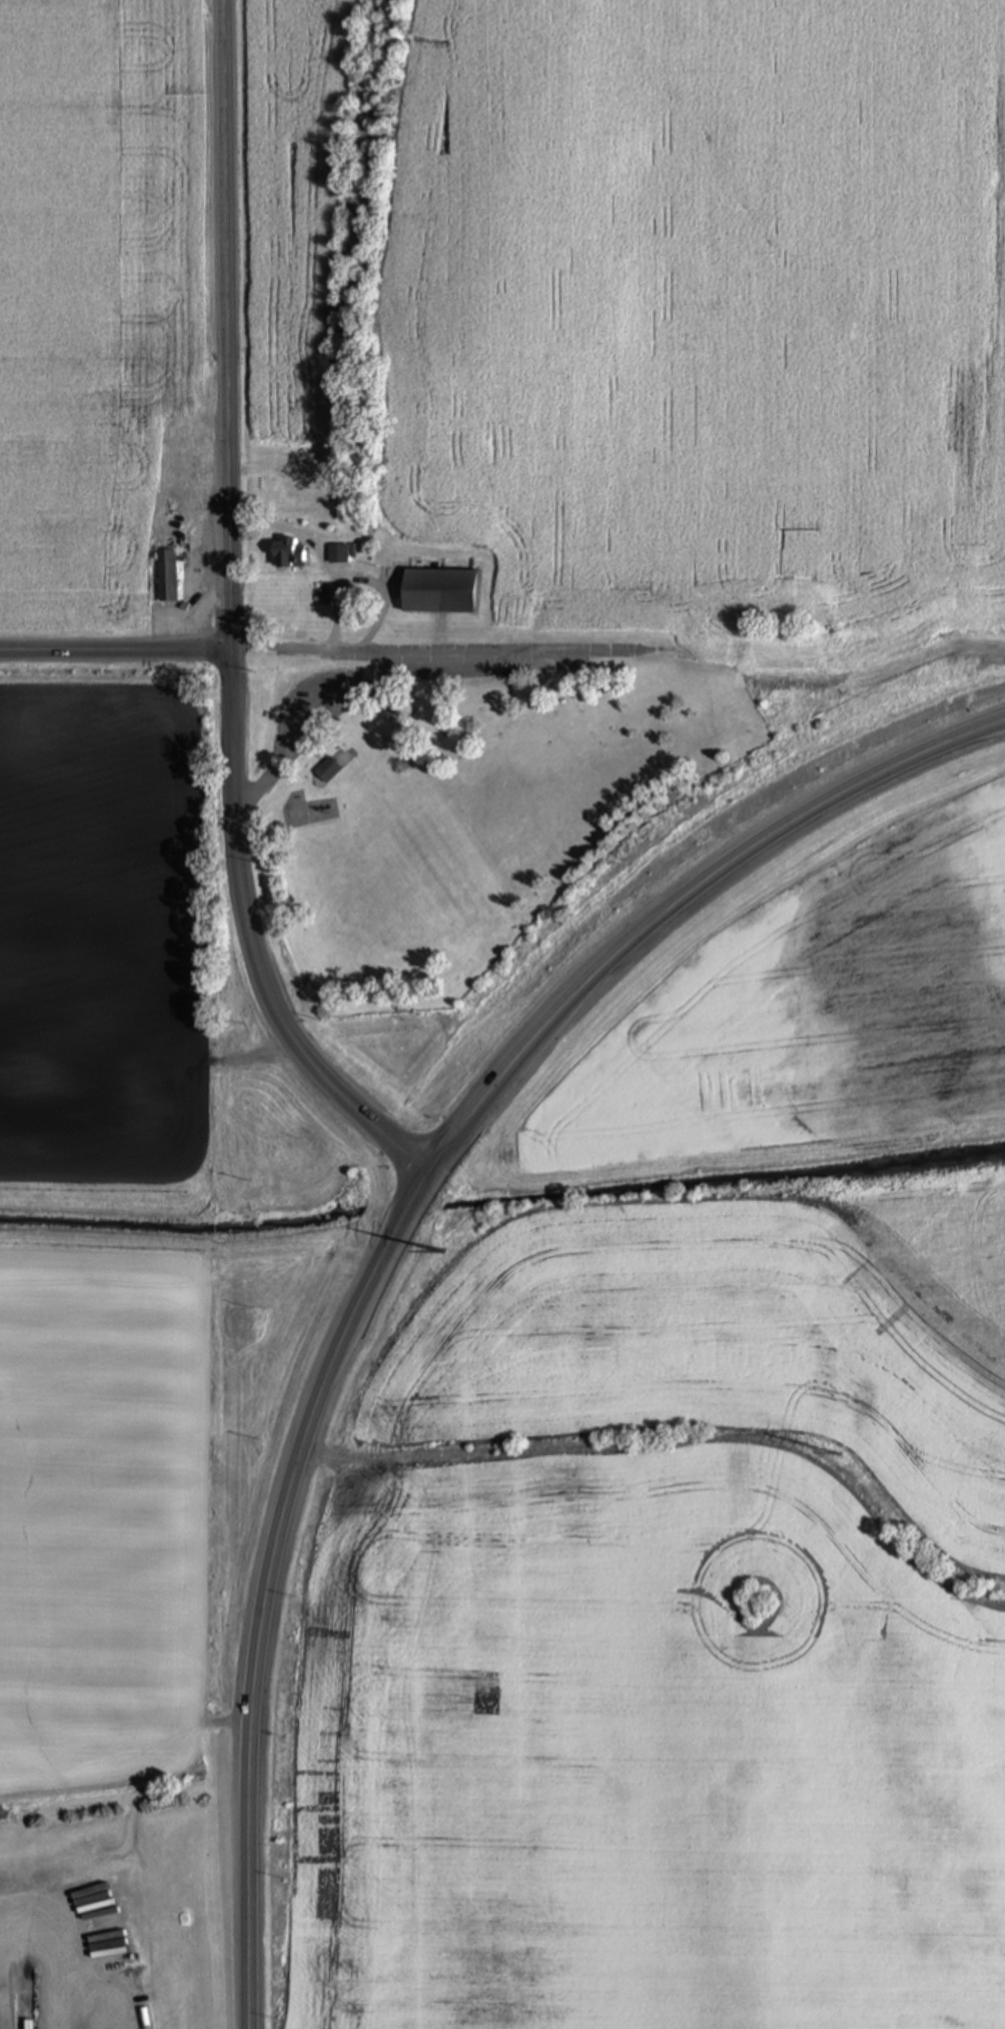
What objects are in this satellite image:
building: (289, 554)
building: (338, 555)
road: (321, 557)
building: (168, 577)
building: (440, 592)
road: (382, 595)
road: (237, 622)
road: (443, 649)
road: (119, 652)
road: (294, 734)
building: (327, 770)
park: (460, 809)
road: (400, 1239)
power tower: (444, 1254)
power tower: (839, 1455)
road: (67, 1962)

